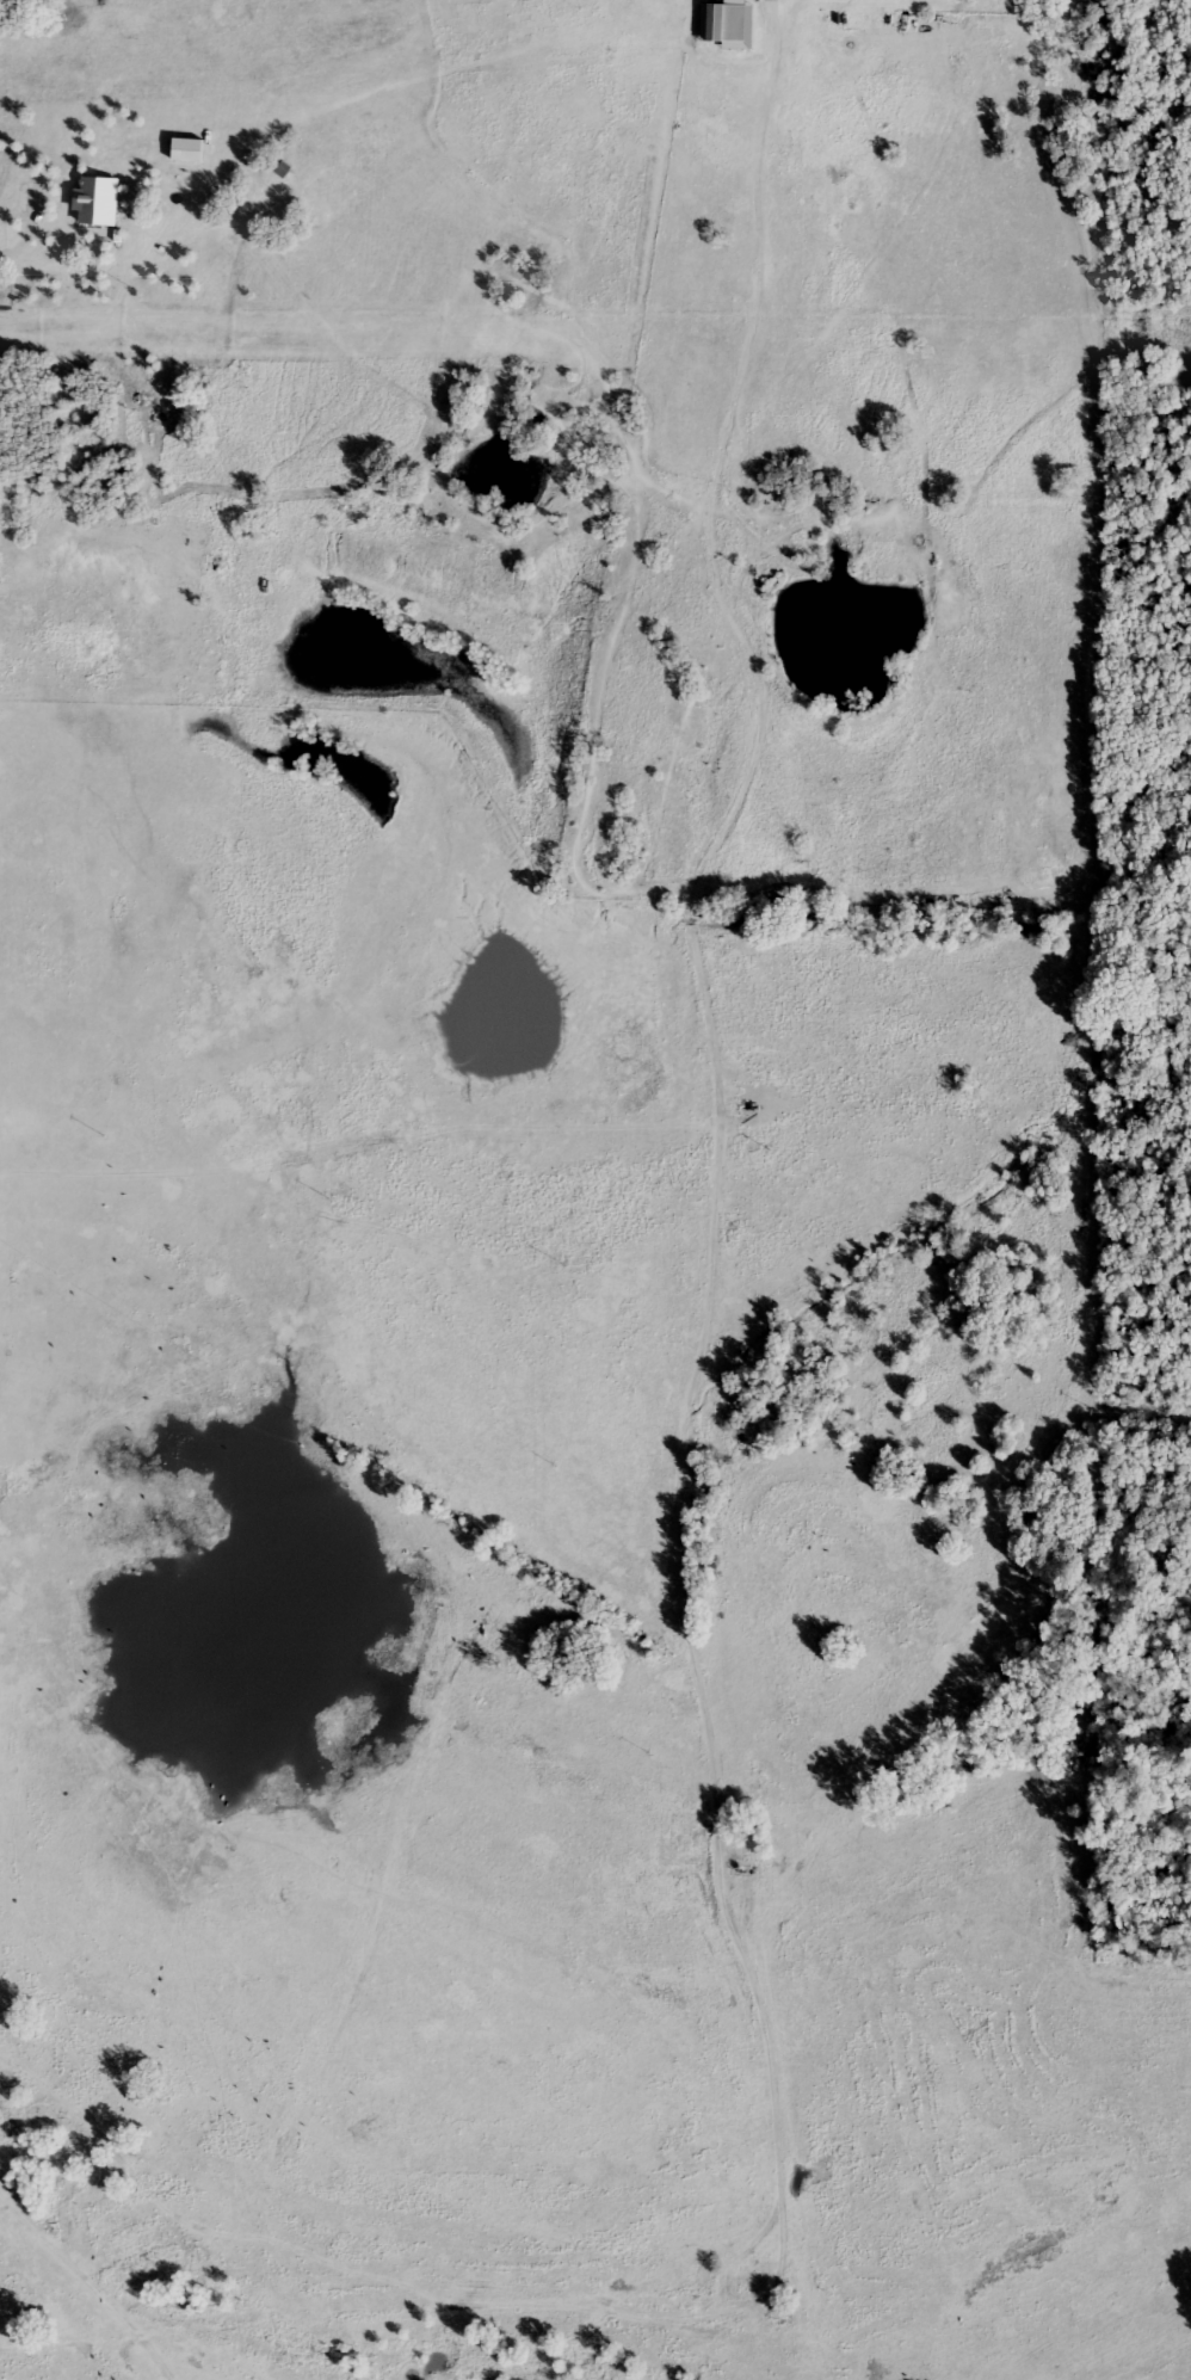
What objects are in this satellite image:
building: (721, 20)
road: (31, 240)
road: (696, 913)
road: (72, 2288)

